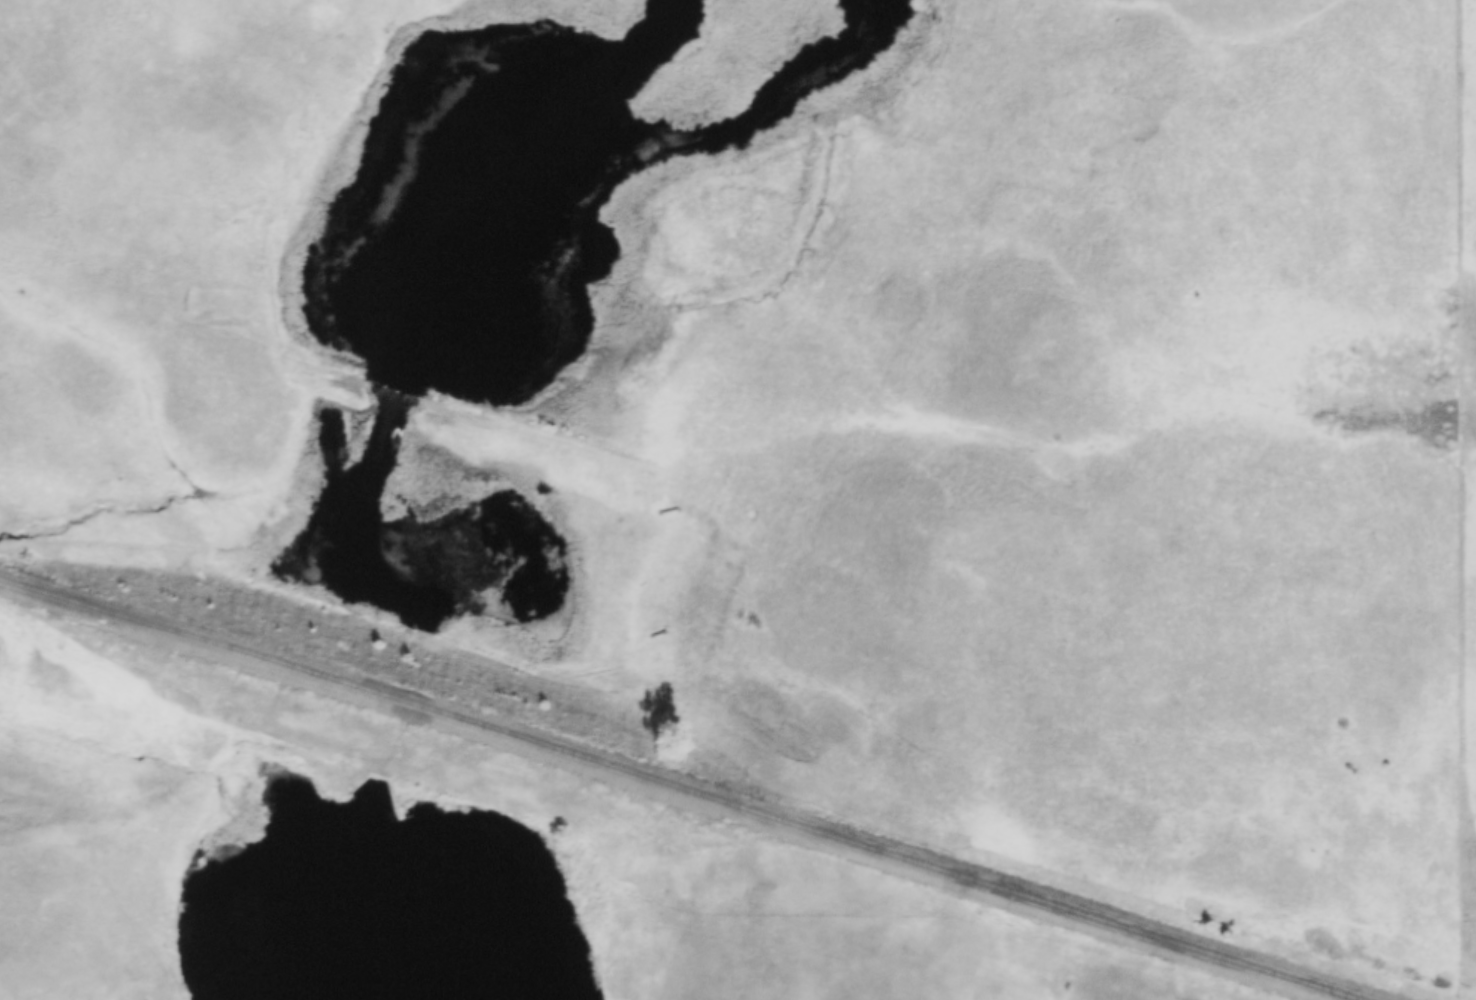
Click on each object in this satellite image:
railway: (673, 787)

